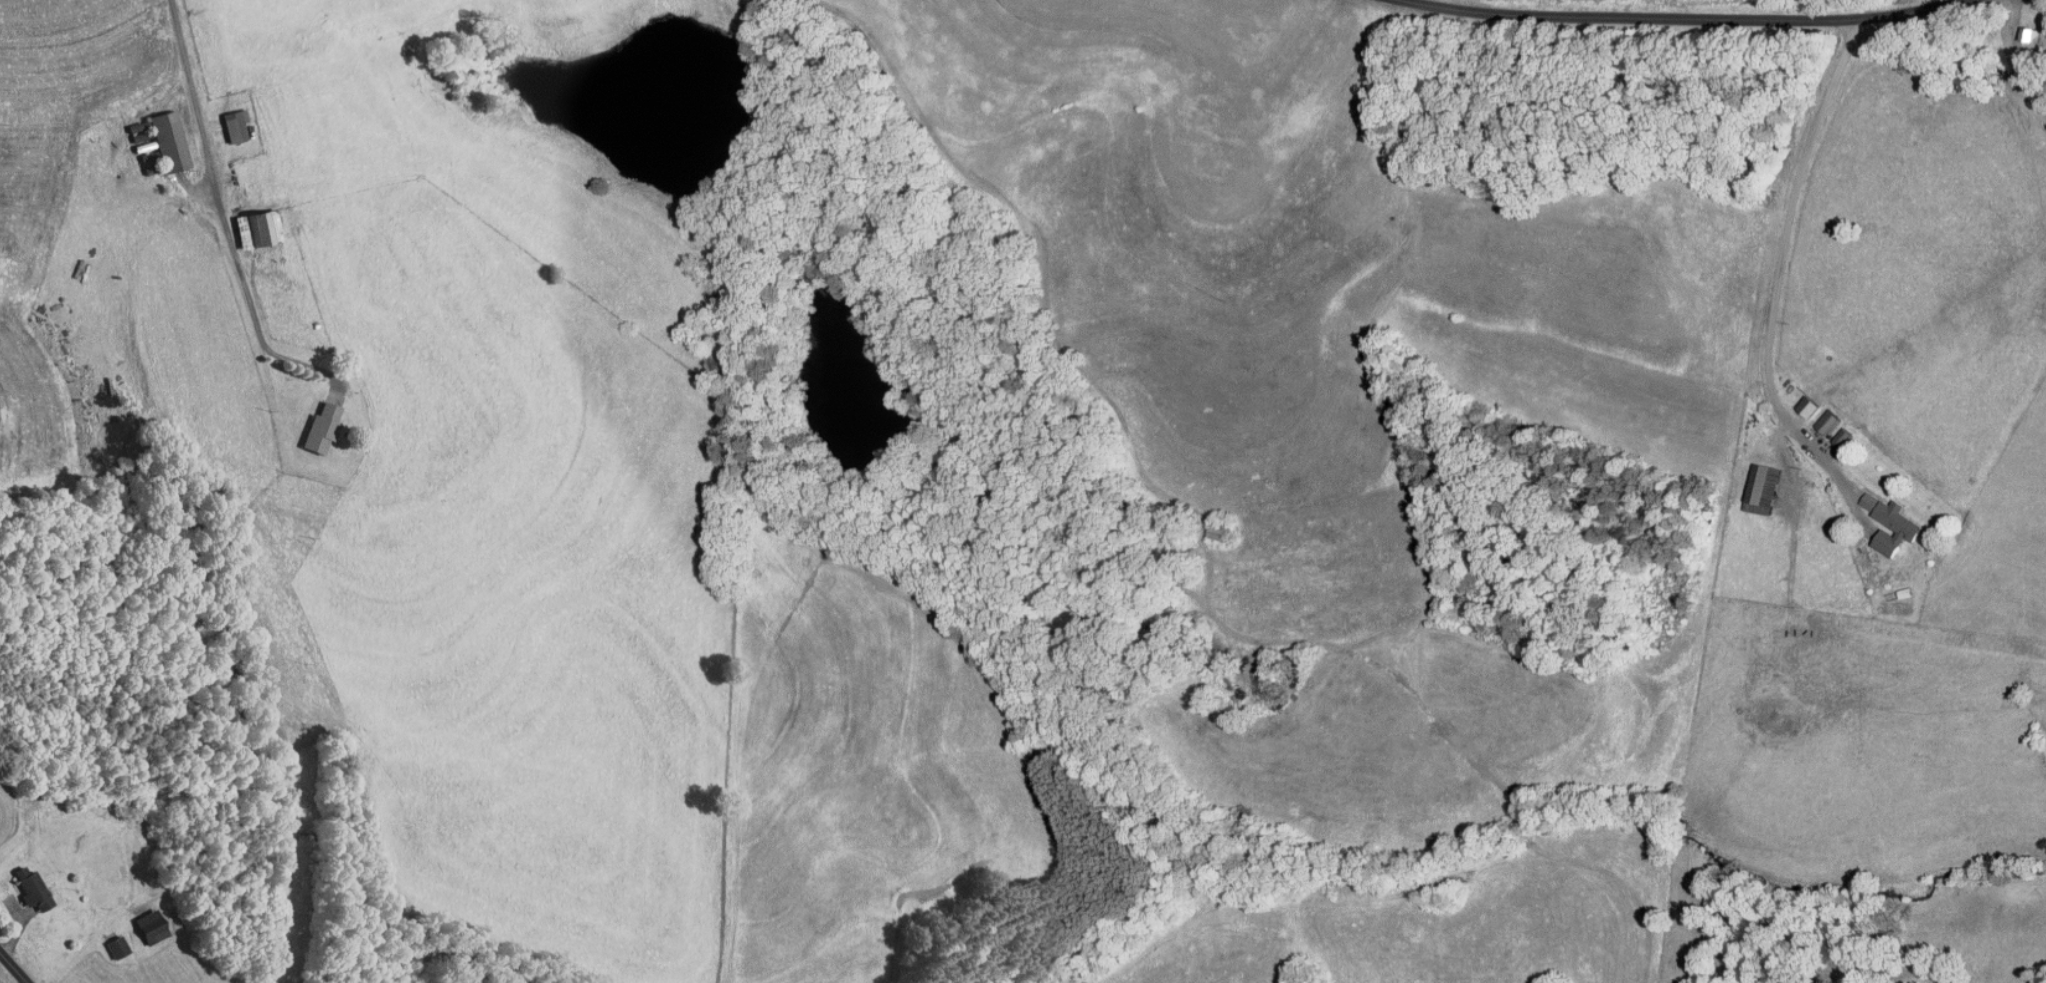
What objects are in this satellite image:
road: (1674, 16)
building: (2030, 36)
road: (2022, 63)
building: (234, 124)
building: (168, 140)
road: (930, 154)
road: (214, 164)
building: (257, 227)
road: (1781, 262)
building: (321, 427)
building: (1763, 488)
building: (1895, 527)
building: (1268, 681)
building: (31, 888)
building: (150, 926)
building: (117, 946)
road: (14, 968)
road: (24, 981)

